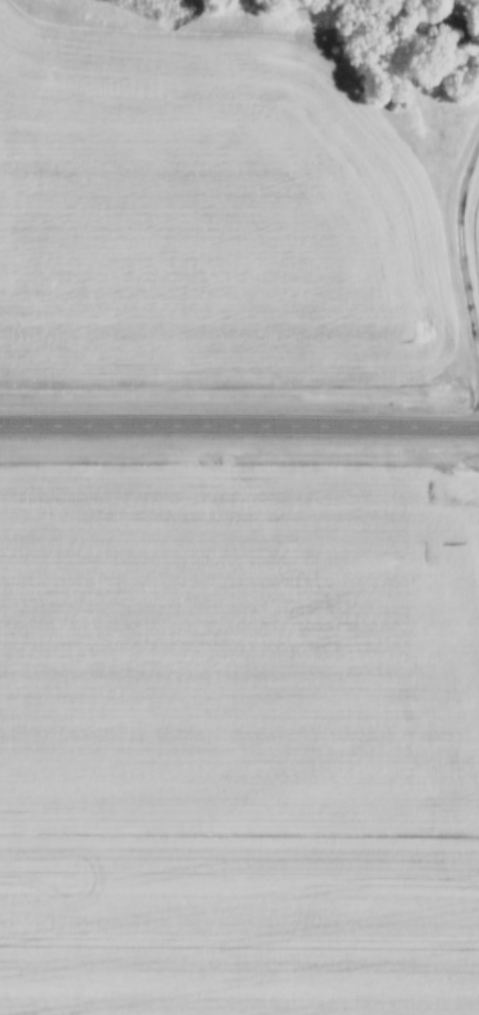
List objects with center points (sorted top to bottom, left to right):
building: (445, 29)
road: (461, 262)
road: (239, 430)

